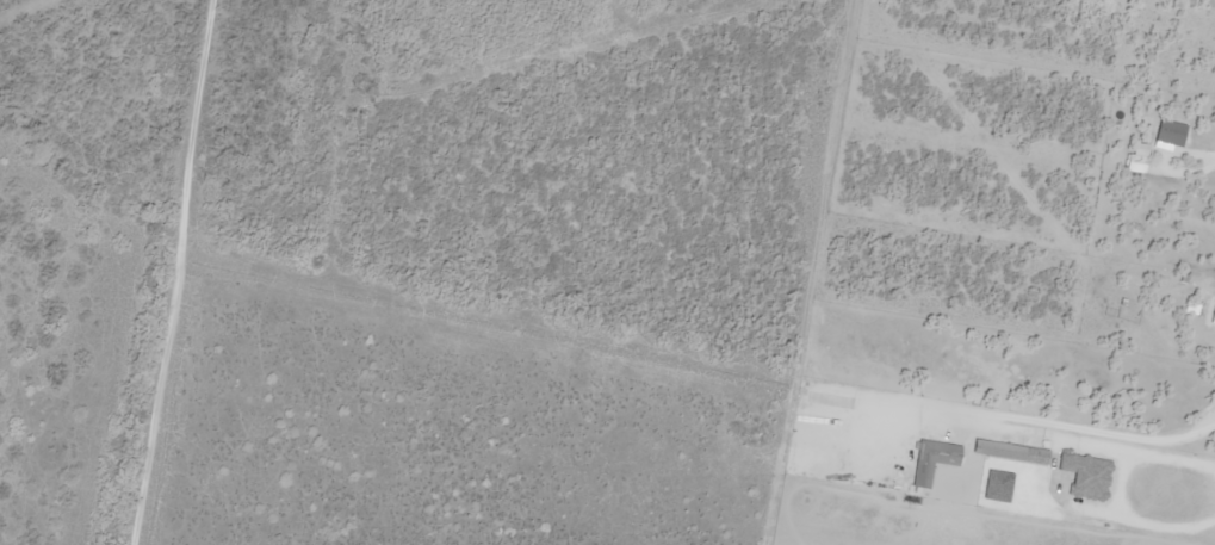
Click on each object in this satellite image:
road: (179, 272)

